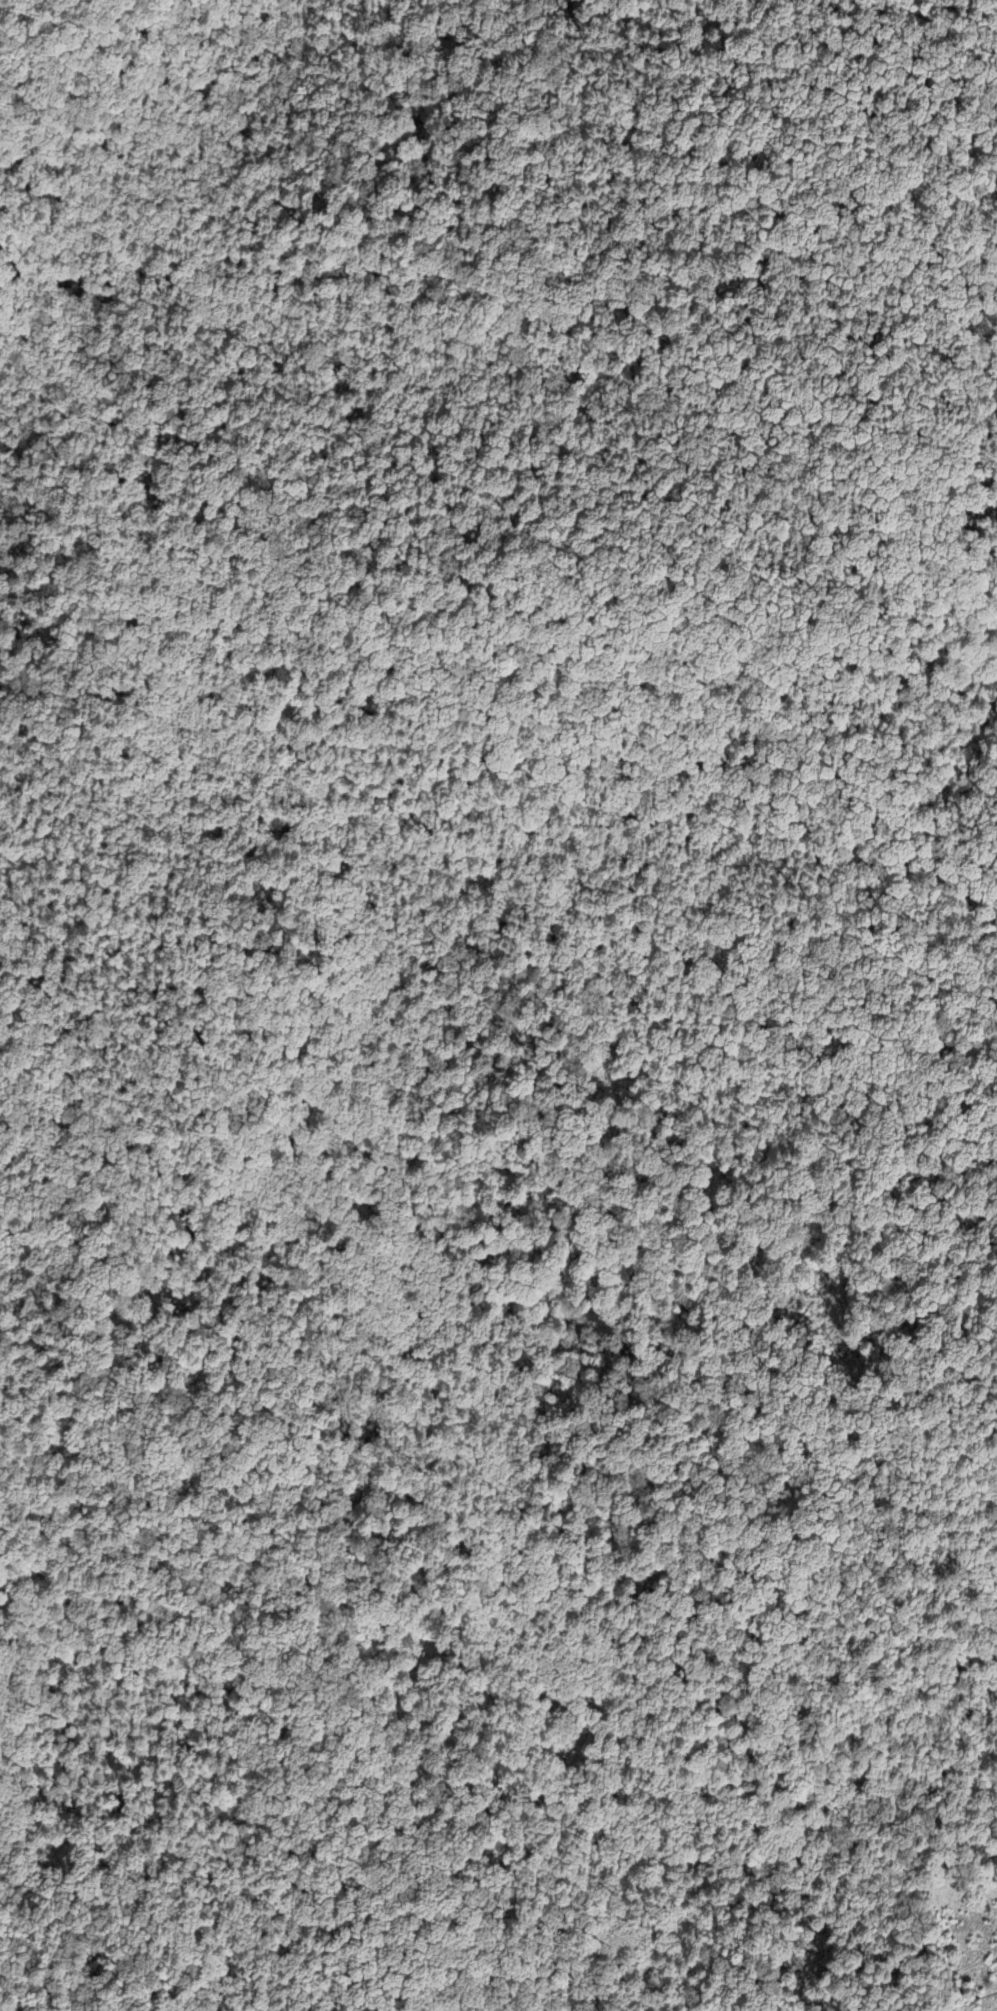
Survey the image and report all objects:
road: (200, 1155)
road: (634, 1918)

